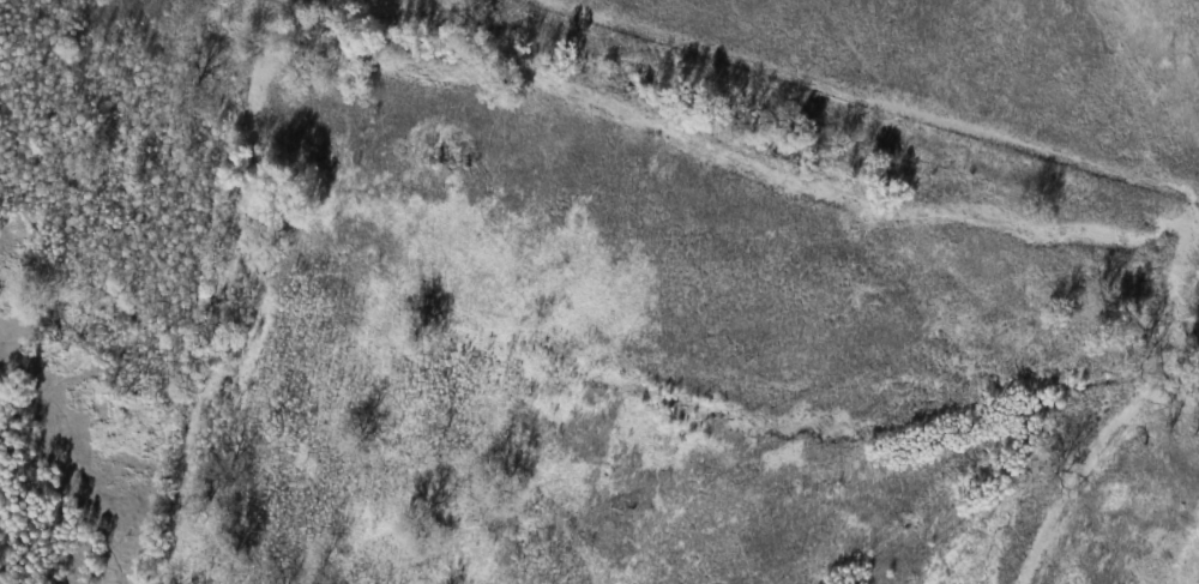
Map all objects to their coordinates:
road: (1093, 462)

